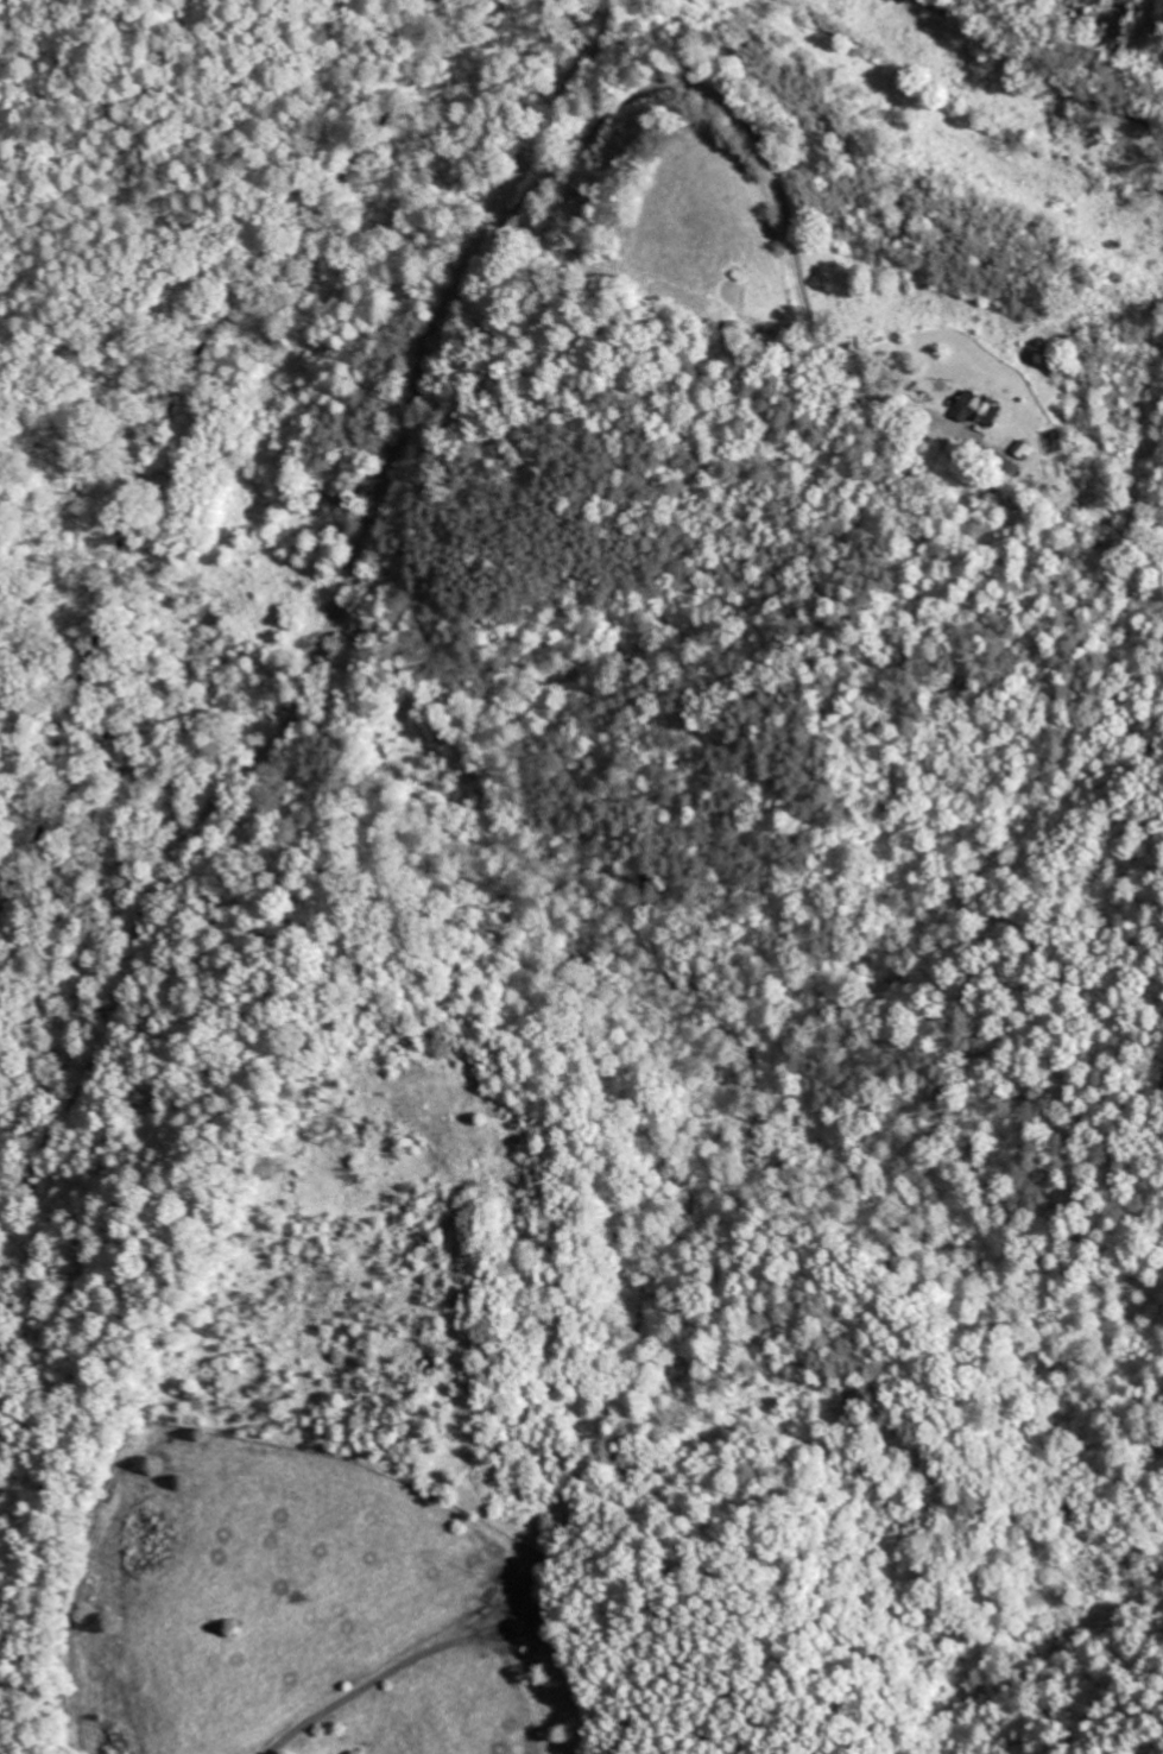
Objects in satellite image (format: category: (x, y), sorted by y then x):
road: (1043, 70)
building: (1025, 449)
road: (331, 631)

